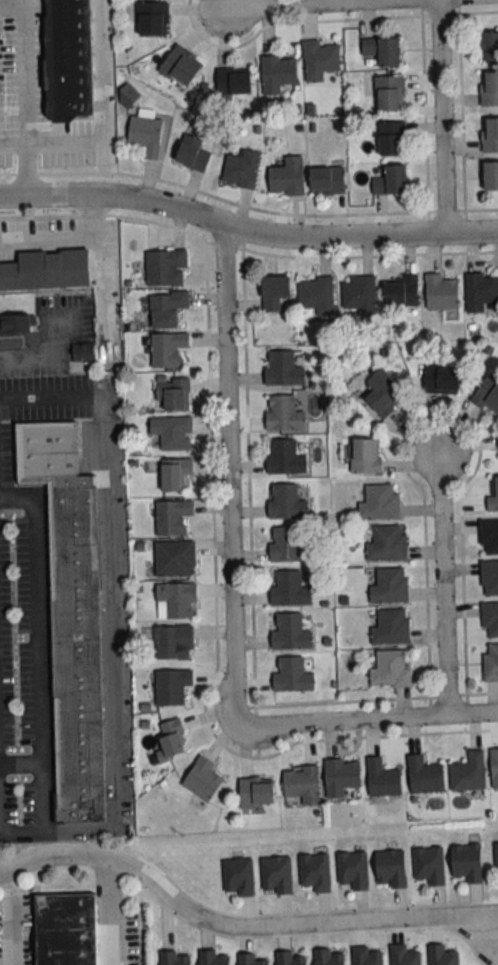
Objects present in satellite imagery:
road: (442, 0)
road: (332, 5)
building: (152, 19)
building: (490, 46)
building: (382, 51)
building: (67, 59)
building: (319, 60)
building: (181, 66)
building: (277, 73)
building: (234, 82)
building: (489, 89)
building: (390, 93)
road: (438, 117)
building: (145, 135)
building: (489, 135)
building: (391, 139)
road: (47, 143)
building: (192, 154)
road: (24, 169)
building: (241, 169)
building: (490, 176)
building: (287, 177)
building: (327, 180)
building: (391, 181)
road: (246, 232)
road: (60, 236)
road: (246, 248)
building: (165, 268)
building: (46, 271)
building: (402, 291)
building: (481, 291)
building: (275, 292)
building: (441, 292)
building: (359, 294)
building: (316, 296)
building: (166, 309)
building: (16, 326)
building: (167, 350)
building: (81, 352)
road: (28, 360)
building: (283, 369)
building: (441, 380)
building: (384, 393)
building: (173, 394)
building: (488, 394)
building: (283, 414)
building: (172, 433)
building: (284, 457)
building: (365, 458)
road: (224, 473)
building: (175, 474)
building: (493, 494)
building: (286, 502)
building: (379, 503)
building: (172, 517)
building: (489, 536)
building: (384, 544)
building: (287, 545)
building: (175, 559)
road: (443, 576)
building: (489, 578)
building: (390, 586)
building: (290, 589)
building: (176, 601)
building: (70, 615)
road: (109, 615)
building: (490, 618)
building: (391, 627)
building: (290, 633)
building: (174, 643)
building: (490, 663)
building: (390, 670)
building: (292, 677)
building: (172, 687)
road: (366, 720)
building: (171, 740)
building: (494, 769)
building: (469, 772)
building: (425, 775)
building: (341, 776)
building: (382, 778)
building: (202, 779)
building: (302, 784)
building: (256, 792)
building: (496, 857)
building: (467, 861)
building: (429, 863)
building: (390, 867)
building: (353, 868)
building: (315, 870)
building: (276, 873)
building: (238, 876)
road: (110, 911)
road: (10, 916)
road: (238, 923)
building: (68, 926)
building: (367, 955)
building: (404, 955)
building: (442, 955)
building: (215, 957)
building: (328, 957)
building: (175, 958)
building: (290, 958)
building: (251, 959)

